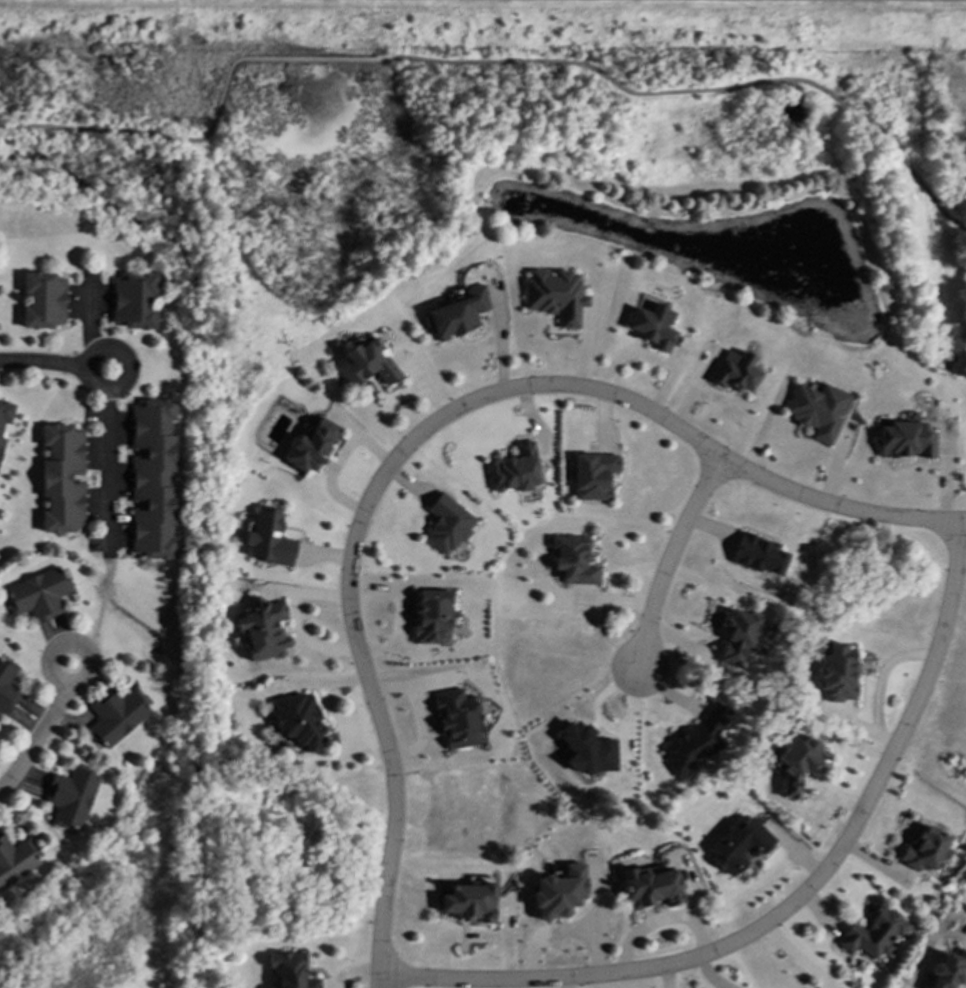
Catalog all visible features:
road: (275, 58)
road: (703, 90)
road: (107, 130)
park: (524, 164)
building: (554, 295)
building: (42, 300)
building: (134, 301)
building: (455, 314)
building: (652, 326)
road: (123, 360)
road: (44, 361)
building: (366, 364)
building: (734, 371)
building: (816, 410)
building: (5, 412)
building: (904, 440)
building: (1, 441)
building: (310, 446)
building: (514, 469)
road: (108, 472)
building: (592, 475)
building: (61, 478)
building: (153, 479)
road: (777, 486)
building: (446, 524)
building: (269, 538)
building: (759, 555)
building: (573, 559)
road: (671, 561)
building: (38, 594)
road: (351, 604)
road: (102, 605)
building: (431, 615)
building: (263, 629)
building: (741, 634)
building: (835, 672)
road: (63, 684)
building: (7, 687)
building: (115, 715)
building: (456, 717)
building: (299, 719)
road: (36, 740)
building: (696, 741)
building: (587, 749)
building: (797, 763)
building: (70, 795)
building: (738, 845)
building: (926, 850)
building: (15, 860)
building: (652, 885)
building: (558, 891)
road: (791, 900)
building: (468, 901)
park: (127, 908)
building: (873, 933)
building: (289, 970)
building: (948, 970)

